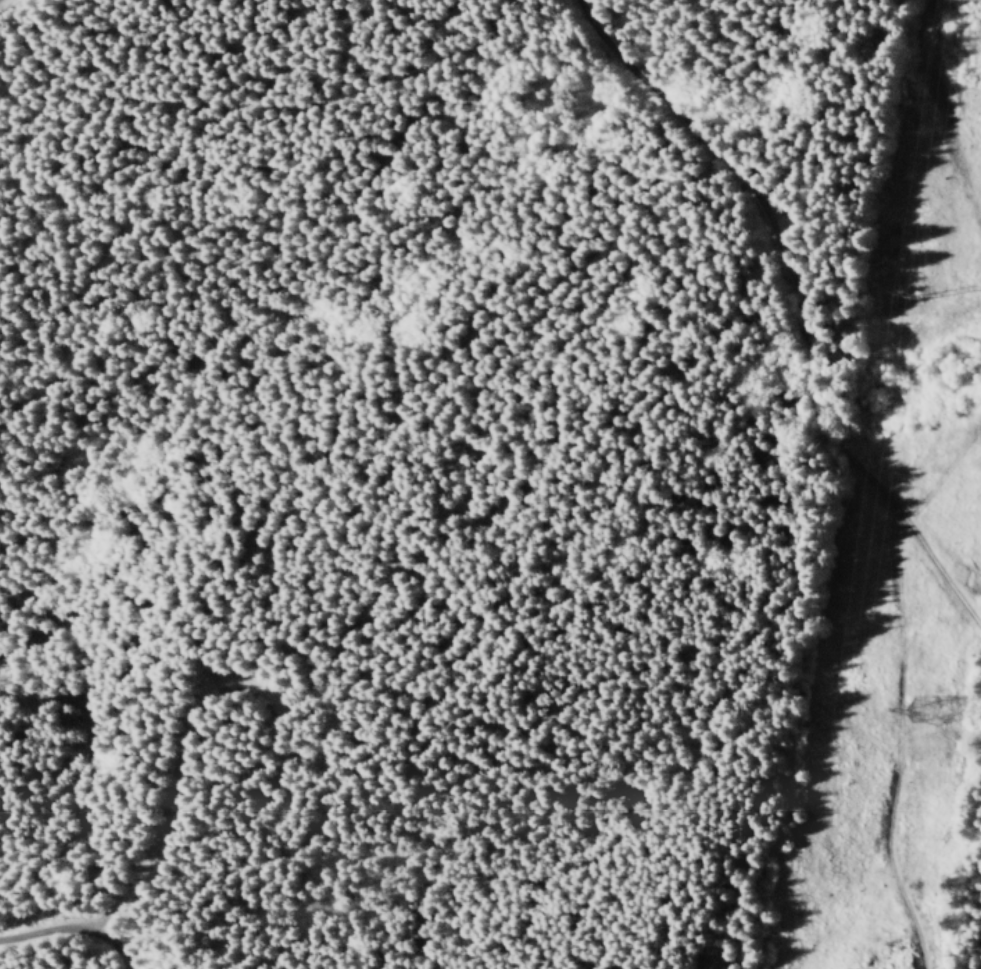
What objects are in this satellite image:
power tower: (910, 298)
power tower: (921, 711)

